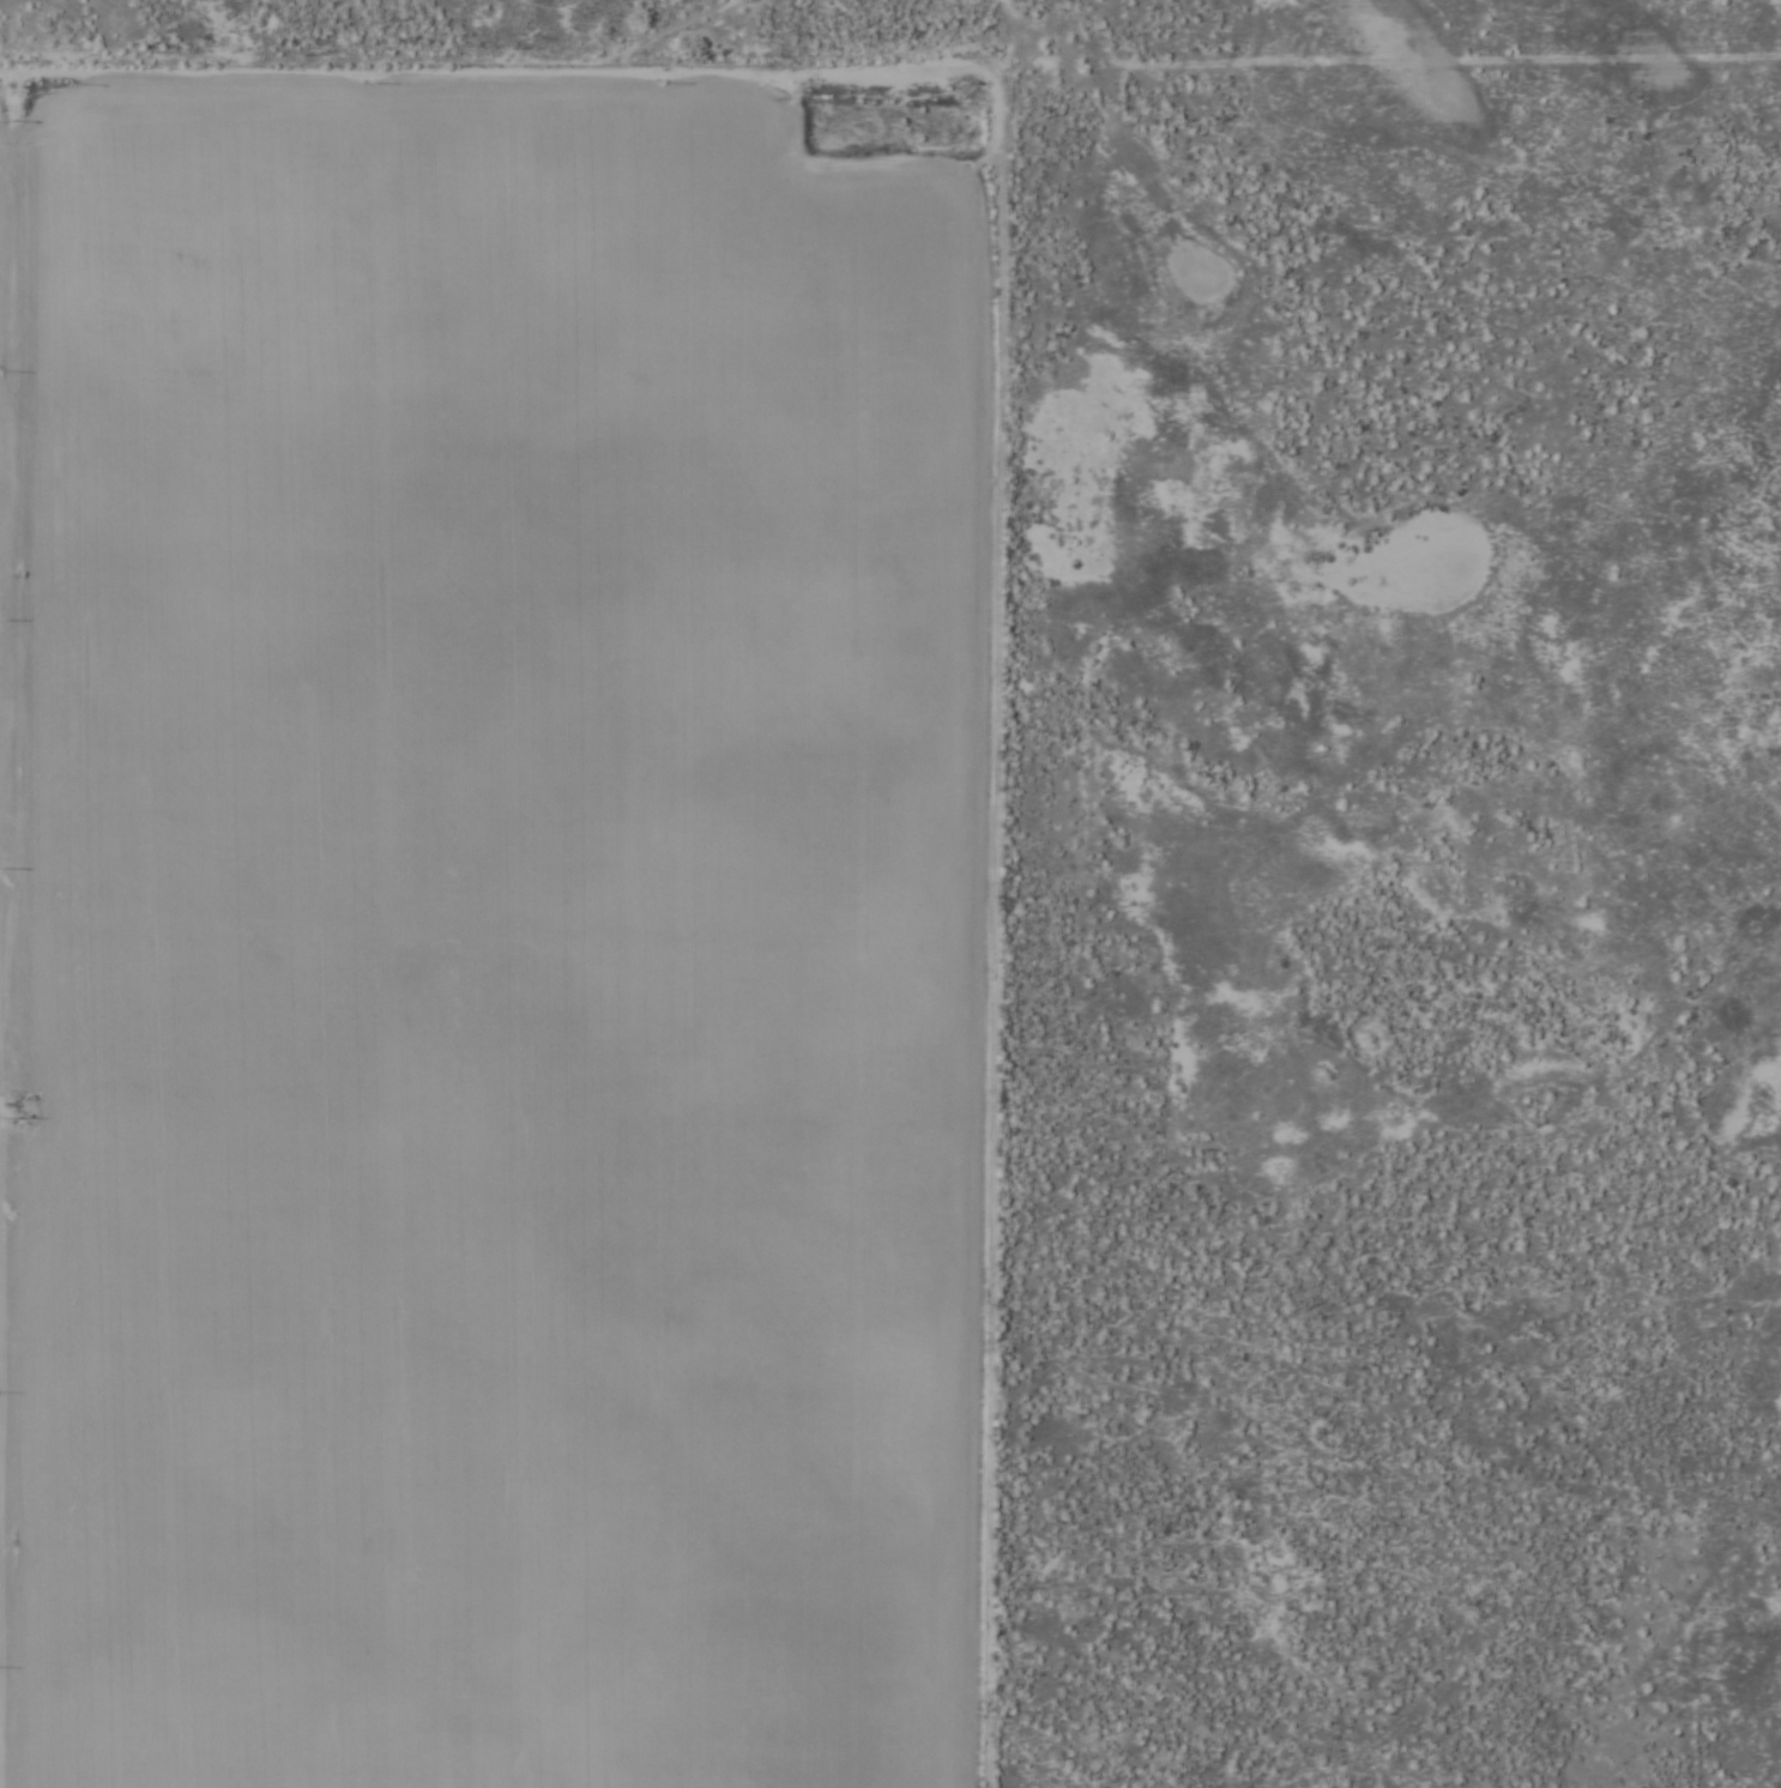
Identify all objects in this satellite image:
road: (394, 181)
crop: (497, 928)

